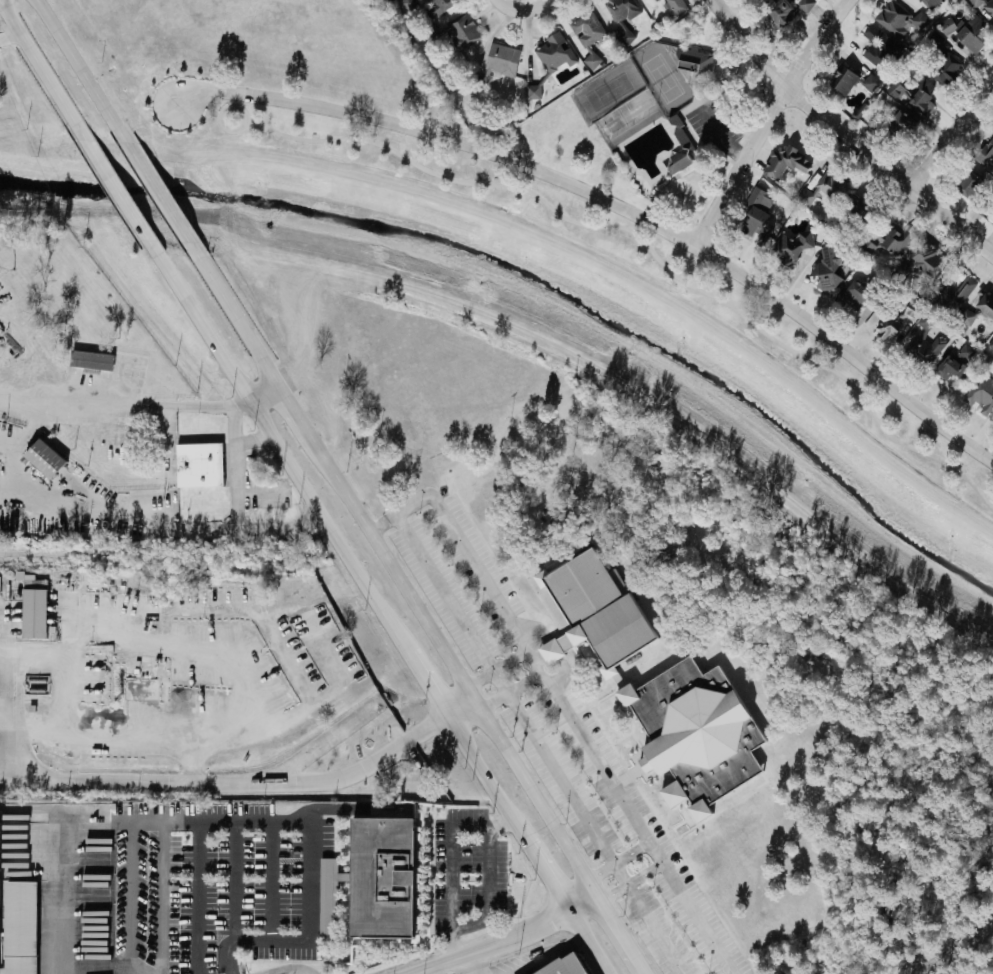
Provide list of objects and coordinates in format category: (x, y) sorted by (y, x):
building: (651, 0)
building: (974, 2)
building: (930, 3)
building: (803, 4)
building: (428, 6)
road: (529, 6)
building: (674, 6)
building: (988, 8)
building: (620, 10)
building: (775, 10)
building: (898, 19)
building: (586, 28)
building: (457, 31)
building: (968, 34)
building: (624, 37)
road: (10, 38)
road: (64, 47)
building: (880, 49)
building: (552, 53)
road: (31, 56)
building: (692, 61)
building: (496, 63)
building: (943, 68)
building: (840, 81)
building: (869, 82)
building: (894, 90)
building: (922, 95)
building: (939, 113)
road: (769, 119)
road: (111, 121)
building: (830, 125)
building: (896, 126)
road: (80, 127)
road: (848, 132)
building: (678, 134)
road: (720, 136)
road: (953, 140)
building: (985, 154)
building: (783, 162)
building: (966, 183)
road: (116, 186)
building: (824, 188)
road: (154, 191)
road: (612, 202)
building: (858, 208)
building: (754, 214)
building: (893, 240)
building: (789, 248)
building: (923, 260)
building: (827, 268)
river: (538, 273)
building: (856, 295)
building: (947, 297)
building: (976, 308)
building: (910, 311)
building: (924, 322)
building: (883, 326)
building: (990, 343)
building: (927, 349)
building: (964, 352)
building: (87, 359)
building: (951, 370)
building: (980, 391)
road: (261, 393)
road: (238, 404)
road: (82, 407)
road: (273, 441)
building: (39, 458)
building: (197, 464)
road: (232, 467)
road: (396, 512)
road: (280, 523)
road: (184, 528)
road: (388, 563)
building: (32, 608)
building: (593, 612)
road: (495, 668)
road: (427, 683)
road: (507, 688)
road: (511, 699)
road: (8, 706)
parking lot: (540, 707)
road: (581, 731)
building: (691, 735)
road: (322, 741)
road: (481, 769)
road: (247, 783)
road: (355, 811)
road: (87, 821)
road: (449, 857)
road: (614, 862)
road: (545, 868)
building: (326, 877)
building: (379, 878)
road: (309, 880)
road: (233, 881)
road: (268, 881)
road: (631, 883)
road: (489, 892)
road: (133, 898)
road: (159, 898)
building: (20, 927)
building: (1, 929)
road: (658, 929)
road: (620, 934)
road: (502, 938)
road: (591, 942)
road: (532, 958)
road: (587, 958)
road: (471, 963)
building: (563, 965)
road: (288, 971)

